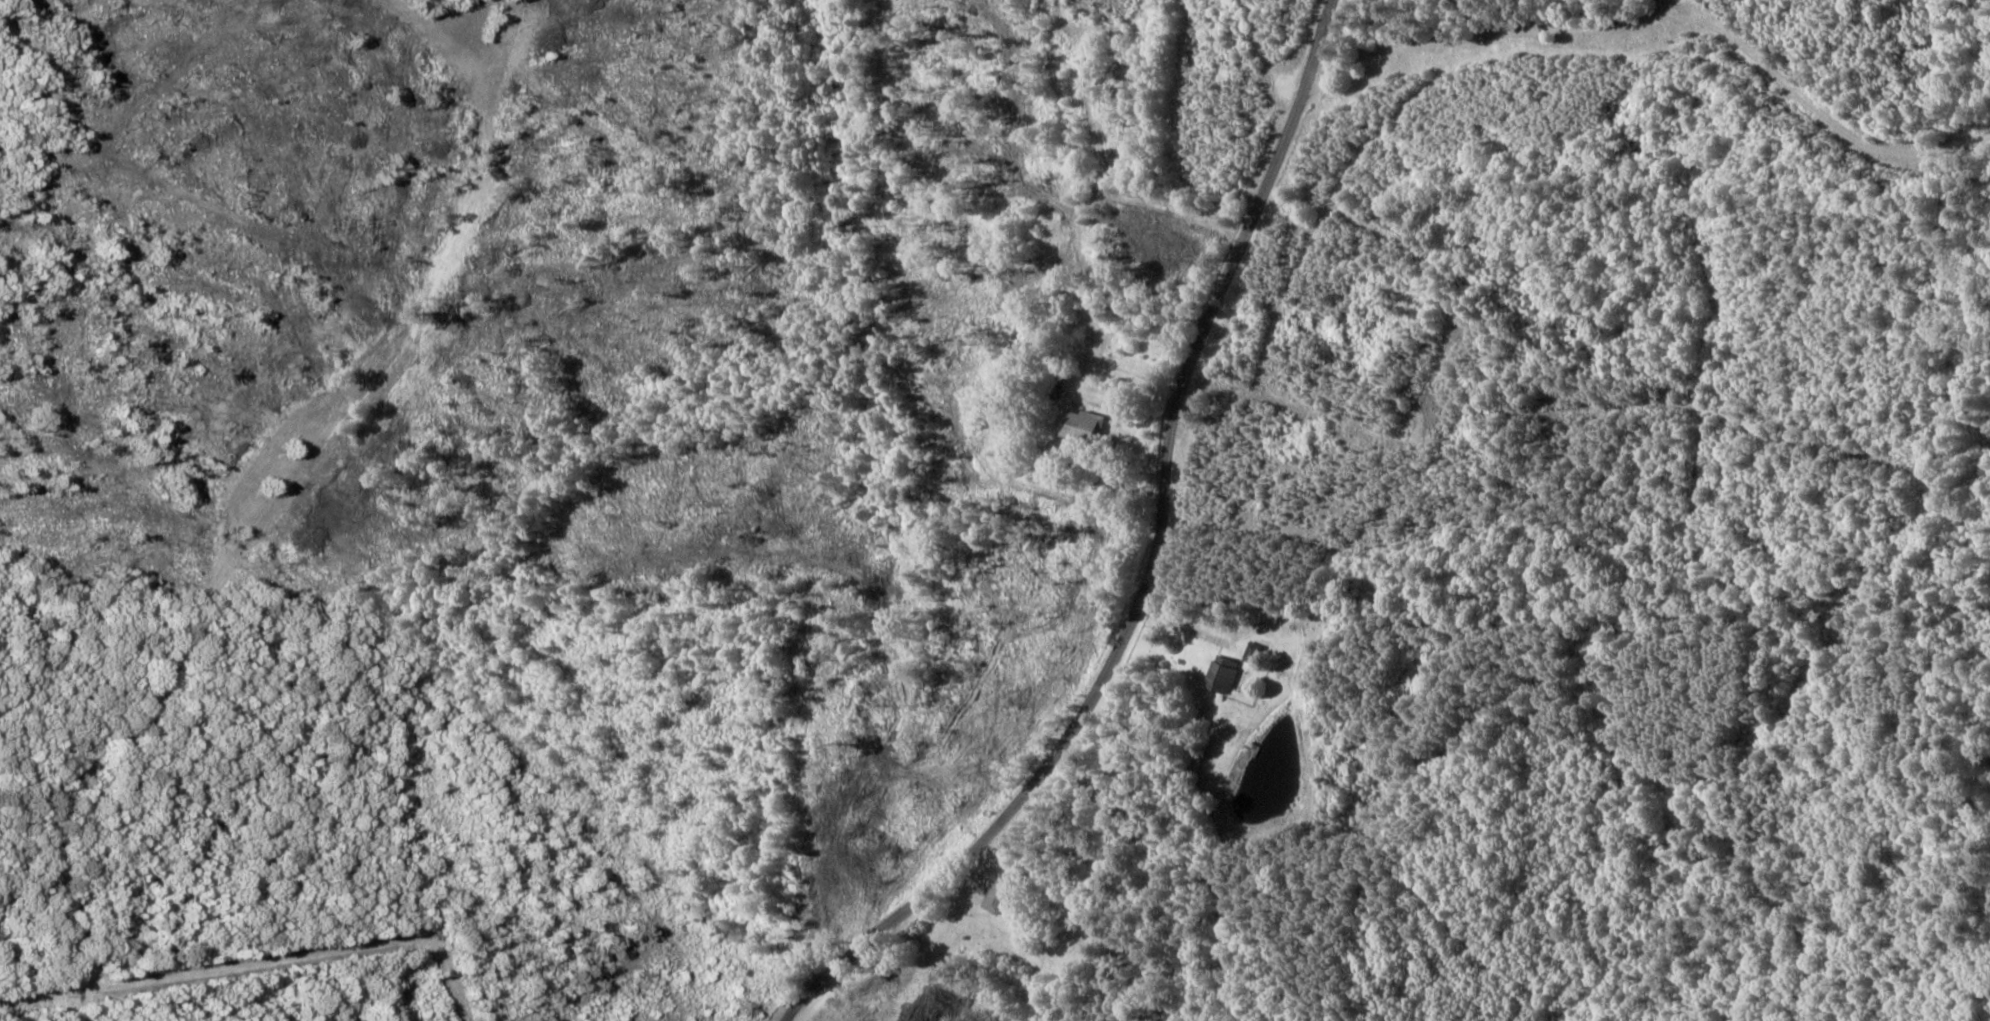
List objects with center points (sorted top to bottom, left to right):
building: (1088, 427)
road: (1150, 566)
building: (1255, 651)
building: (1224, 672)
building: (1001, 893)

